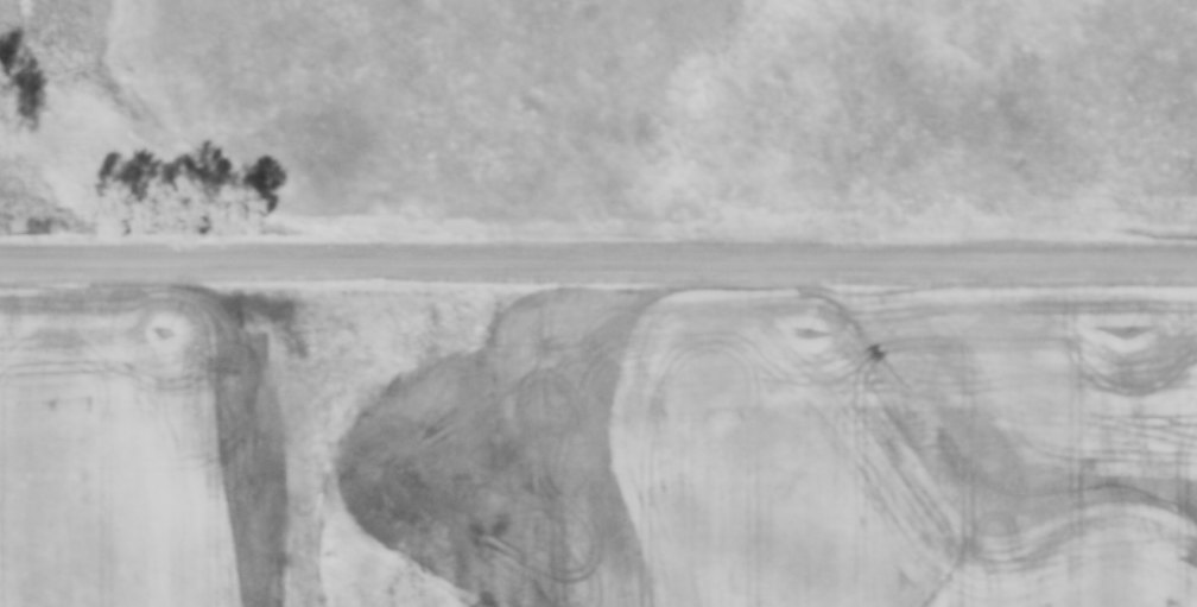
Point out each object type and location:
road: (598, 258)

